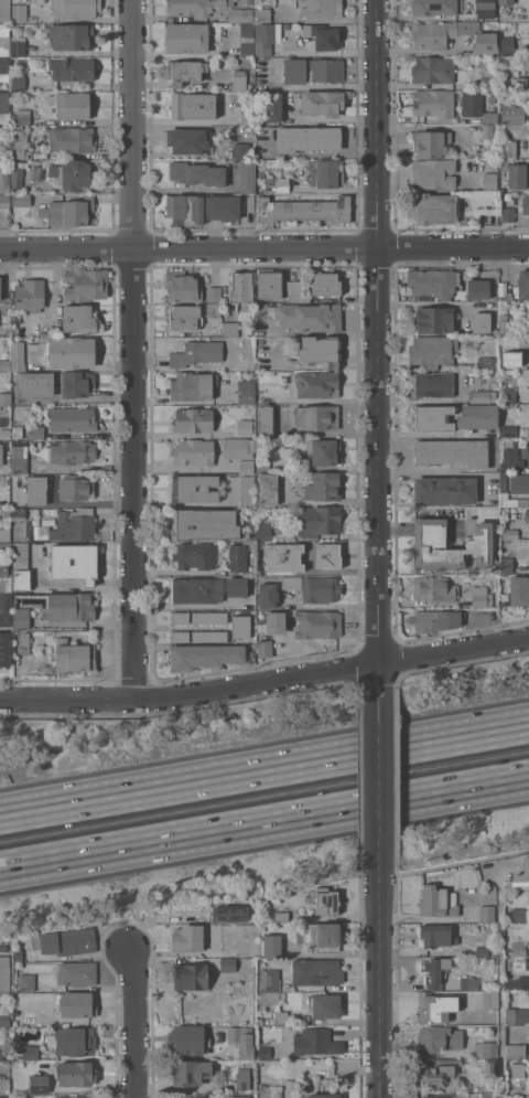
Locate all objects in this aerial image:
building: (506, 2)
building: (195, 7)
building: (433, 7)
building: (321, 8)
building: (75, 9)
building: (4, 11)
building: (19, 12)
building: (240, 14)
building: (262, 14)
building: (488, 14)
building: (432, 34)
building: (323, 35)
building: (72, 36)
building: (478, 36)
building: (186, 38)
building: (264, 38)
building: (247, 39)
building: (4, 40)
building: (506, 45)
building: (18, 46)
building: (527, 63)
building: (19, 64)
building: (3, 67)
building: (74, 70)
building: (432, 70)
building: (185, 71)
building: (312, 71)
building: (239, 79)
building: (488, 81)
building: (18, 82)
building: (520, 83)
road: (315, 86)
building: (322, 103)
building: (433, 103)
building: (472, 104)
building: (74, 105)
building: (192, 106)
building: (272, 107)
building: (4, 108)
building: (247, 111)
building: (511, 113)
building: (21, 117)
building: (489, 117)
road: (335, 119)
road: (188, 121)
road: (379, 124)
building: (3, 129)
building: (486, 130)
building: (306, 138)
building: (72, 139)
building: (186, 141)
building: (18, 142)
building: (430, 142)
building: (507, 148)
building: (240, 150)
road: (312, 154)
building: (71, 173)
building: (196, 173)
building: (324, 173)
building: (433, 173)
building: (515, 173)
building: (14, 177)
building: (247, 178)
building: (4, 180)
building: (489, 181)
building: (278, 184)
building: (21, 200)
building: (525, 204)
building: (4, 207)
building: (222, 207)
building: (185, 209)
building: (432, 209)
building: (303, 210)
building: (69, 212)
building: (508, 214)
road: (264, 248)
building: (432, 281)
building: (268, 283)
building: (85, 284)
building: (326, 284)
building: (523, 285)
building: (182, 286)
building: (240, 288)
building: (478, 288)
building: (295, 290)
building: (214, 292)
building: (30, 295)
building: (214, 309)
building: (261, 310)
building: (309, 316)
building: (78, 319)
building: (183, 319)
building: (434, 319)
building: (481, 322)
building: (506, 323)
building: (230, 329)
building: (320, 350)
building: (432, 350)
road: (134, 351)
building: (71, 352)
building: (196, 353)
building: (14, 358)
building: (510, 359)
building: (486, 362)
building: (77, 383)
building: (316, 383)
building: (36, 384)
building: (432, 384)
building: (193, 385)
building: (246, 392)
building: (509, 394)
building: (482, 395)
building: (6, 398)
building: (477, 416)
building: (317, 417)
building: (72, 418)
building: (433, 418)
building: (193, 419)
building: (264, 420)
building: (244, 427)
building: (4, 430)
building: (509, 430)
building: (17, 431)
building: (36, 431)
road: (433, 434)
building: (3, 448)
building: (239, 448)
building: (72, 451)
building: (194, 451)
building: (323, 451)
building: (452, 452)
building: (510, 455)
building: (20, 457)
building: (262, 465)
building: (246, 466)
road: (378, 467)
road: (438, 475)
building: (503, 481)
building: (518, 483)
building: (323, 487)
building: (75, 488)
building: (194, 488)
building: (35, 489)
building: (267, 489)
building: (444, 490)
building: (247, 491)
building: (4, 512)
building: (19, 513)
building: (527, 515)
building: (319, 520)
building: (205, 524)
building: (69, 525)
building: (44, 526)
building: (263, 531)
building: (510, 533)
building: (4, 534)
building: (429, 542)
building: (195, 555)
building: (320, 555)
building: (239, 557)
building: (74, 562)
building: (506, 565)
building: (3, 566)
building: (262, 566)
building: (21, 567)
building: (291, 582)
building: (236, 586)
building: (320, 588)
building: (434, 588)
building: (196, 589)
building: (518, 590)
building: (268, 595)
building: (481, 596)
building: (6, 601)
building: (71, 606)
building: (180, 617)
building: (209, 617)
building: (6, 618)
building: (21, 619)
building: (436, 620)
building: (274, 622)
building: (317, 623)
building: (240, 627)
building: (180, 636)
building: (209, 636)
building: (264, 639)
building: (23, 643)
building: (4, 649)
building: (204, 655)
building: (74, 657)
road: (264, 681)
road: (264, 774)
road: (378, 776)
road: (264, 828)
road: (453, 862)
building: (521, 874)
building: (438, 902)
building: (326, 903)
building: (228, 913)
building: (486, 913)
building: (519, 915)
building: (281, 916)
building: (270, 917)
building: (319, 935)
building: (436, 935)
building: (188, 938)
building: (65, 941)
building: (272, 946)
building: (518, 947)
building: (3, 948)
building: (482, 951)
building: (18, 955)
building: (527, 962)
building: (227, 966)
building: (316, 971)
building: (434, 971)
building: (4, 973)
building: (76, 973)
building: (190, 977)
building: (25, 980)
road: (379, 981)
building: (468, 983)
building: (517, 983)
building: (270, 985)
building: (490, 1000)
building: (77, 1004)
building: (325, 1004)
building: (434, 1006)
building: (517, 1015)
building: (29, 1016)
building: (281, 1016)
building: (4, 1019)
road: (138, 1022)
building: (528, 1032)
building: (236, 1034)
building: (218, 1036)
building: (439, 1040)
building: (75, 1041)
building: (186, 1041)
building: (314, 1042)
building: (486, 1048)
building: (515, 1049)
building: (29, 1052)
building: (246, 1052)
building: (263, 1052)
building: (1, 1053)
building: (4, 1062)
building: (449, 1062)
building: (490, 1067)
building: (517, 1069)
building: (190, 1072)
building: (75, 1074)
building: (435, 1075)
building: (242, 1078)
building: (39, 1084)
building: (4, 1086)
building: (266, 1092)
building: (6, 1096)
building: (195, 1096)
building: (241, 1096)
building: (324, 1096)
building: (441, 1096)
building: (516, 1096)
building: (527, 1096)
building: (25, 1097)
building: (66, 1097)
building: (94, 1097)

